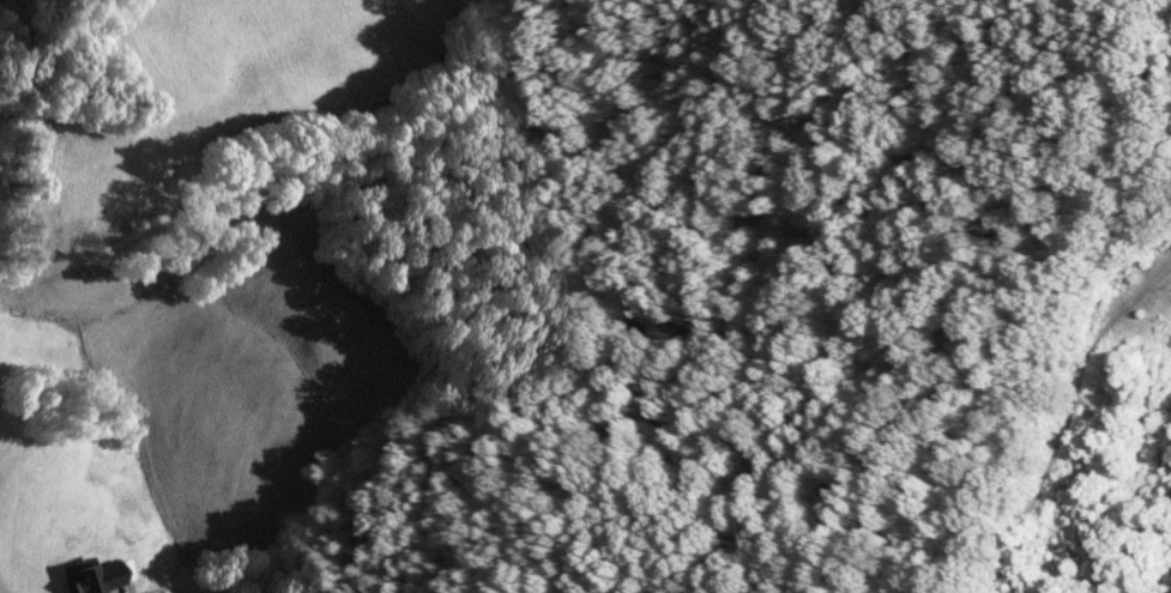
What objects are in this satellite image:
building: (92, 576)

